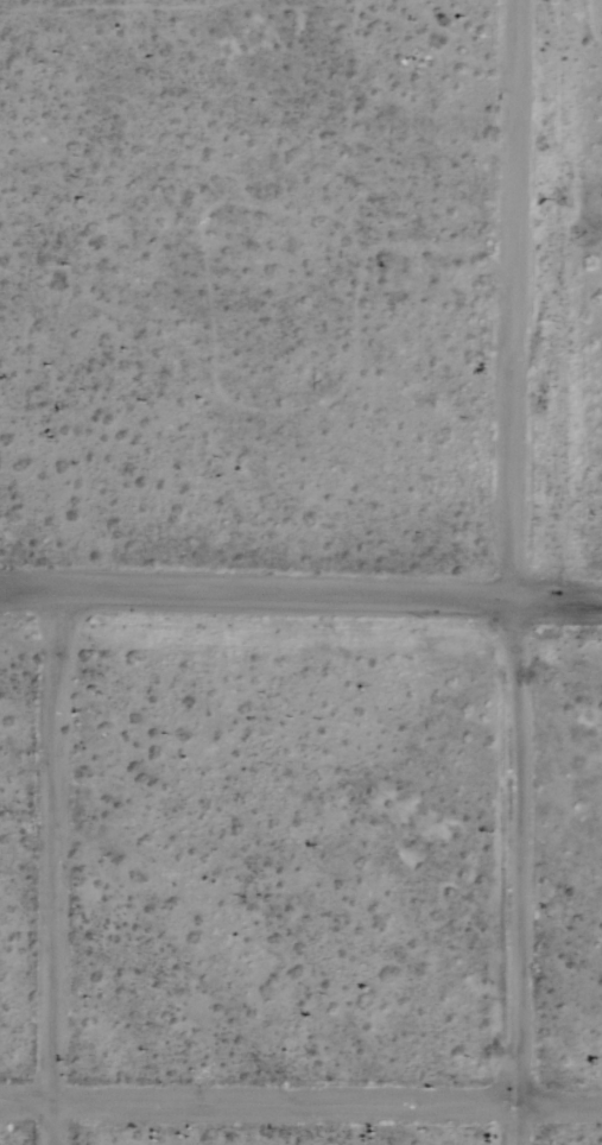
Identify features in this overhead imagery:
road: (509, 301)
road: (300, 596)
road: (53, 867)
road: (508, 873)
road: (300, 1100)

